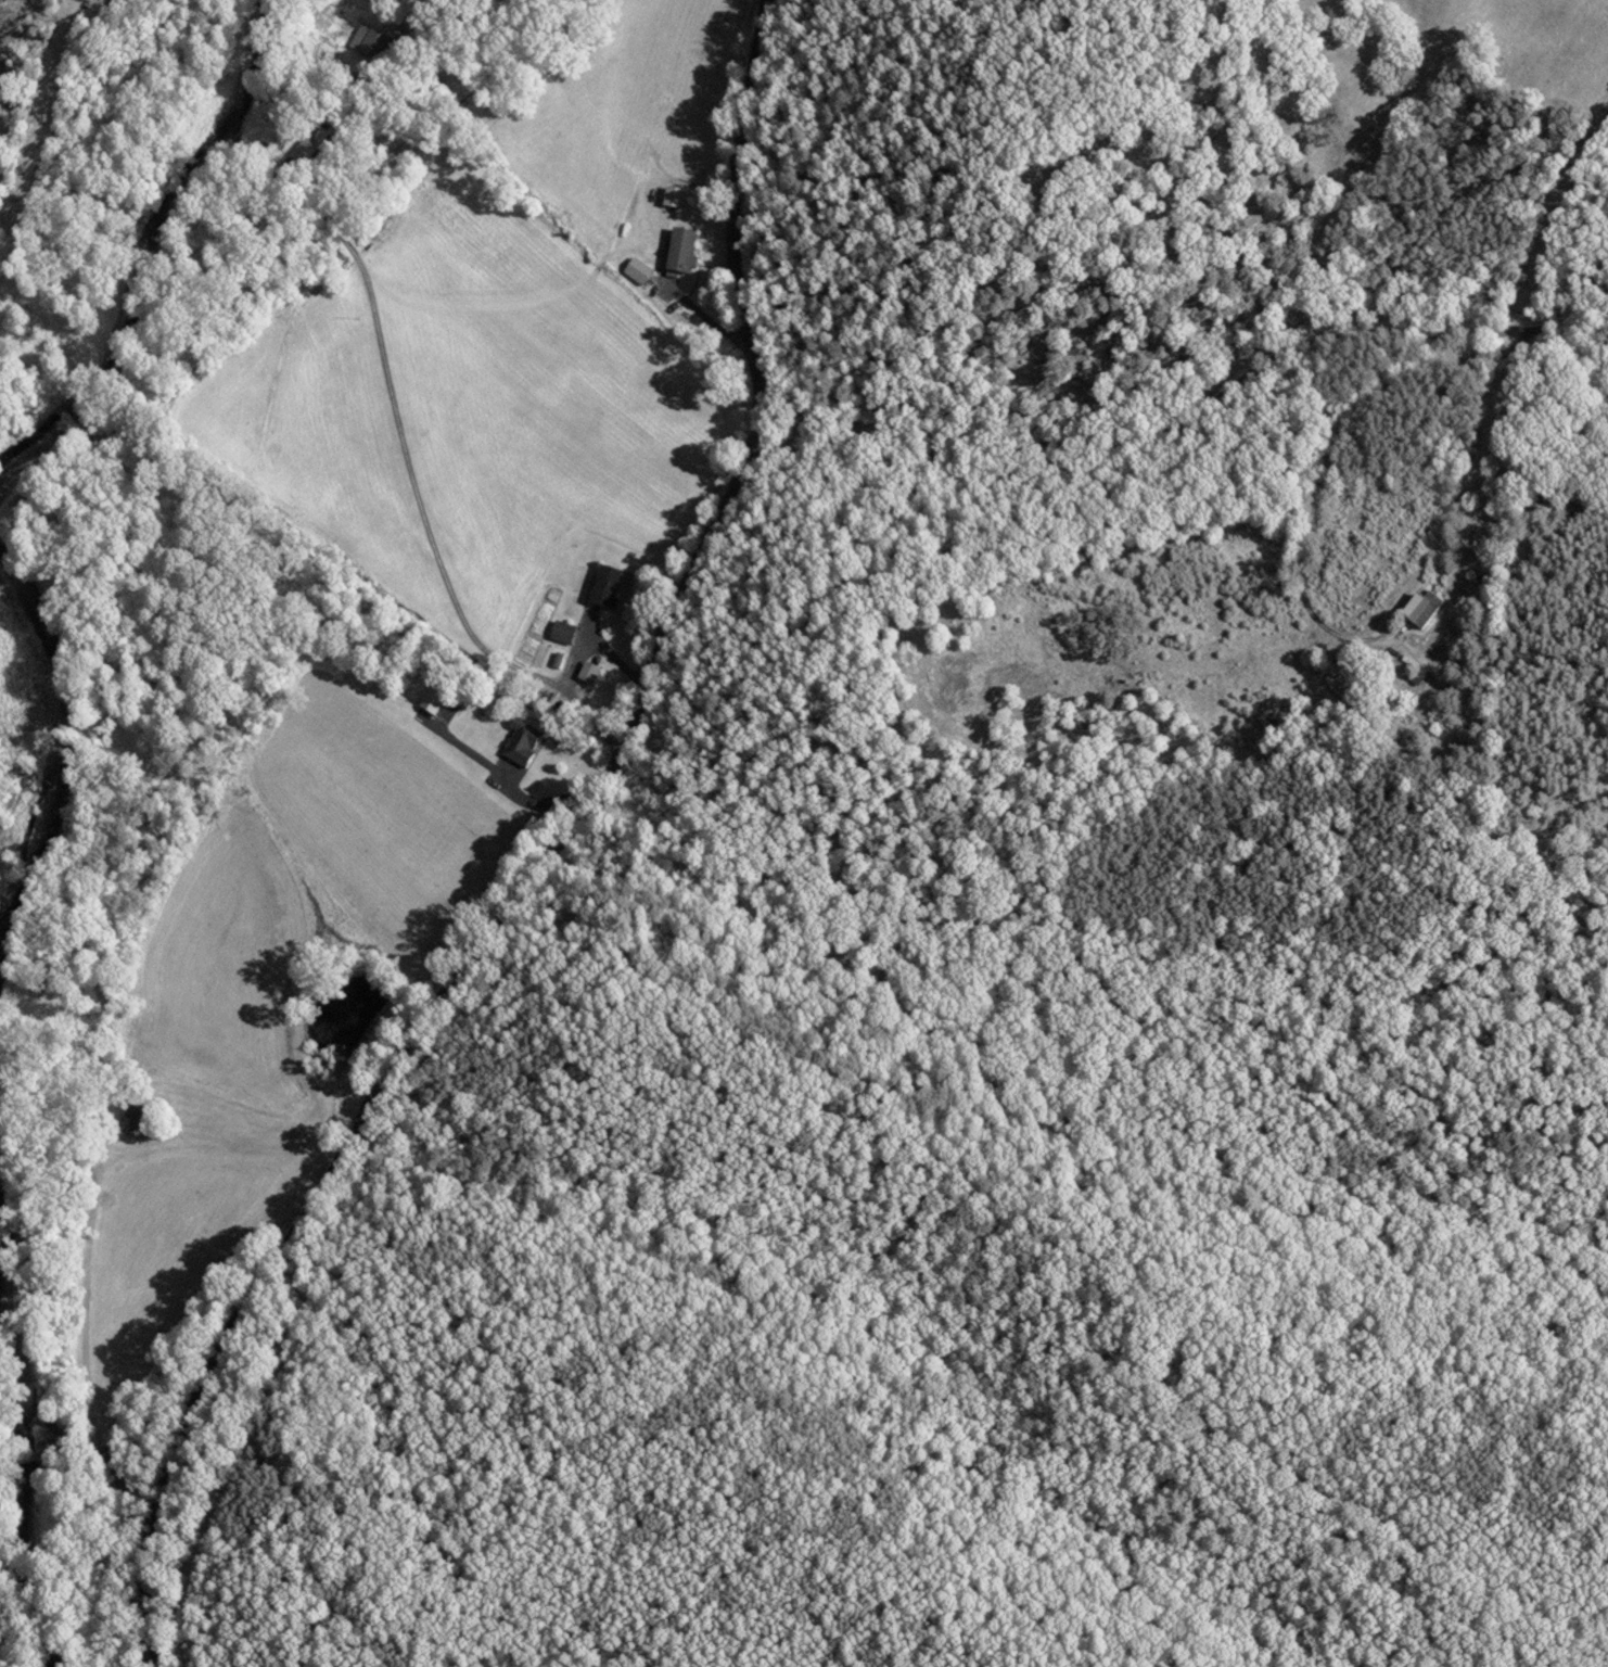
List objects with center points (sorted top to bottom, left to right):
building: (299, 157)
building: (673, 196)
river: (149, 247)
building: (681, 251)
road: (1173, 398)
road: (1510, 450)
building: (607, 587)
building: (1418, 612)
building: (562, 632)
building: (588, 672)
building: (520, 743)
river: (64, 762)
road: (564, 826)
road: (92, 1468)
river: (18, 1474)
road: (153, 1625)

